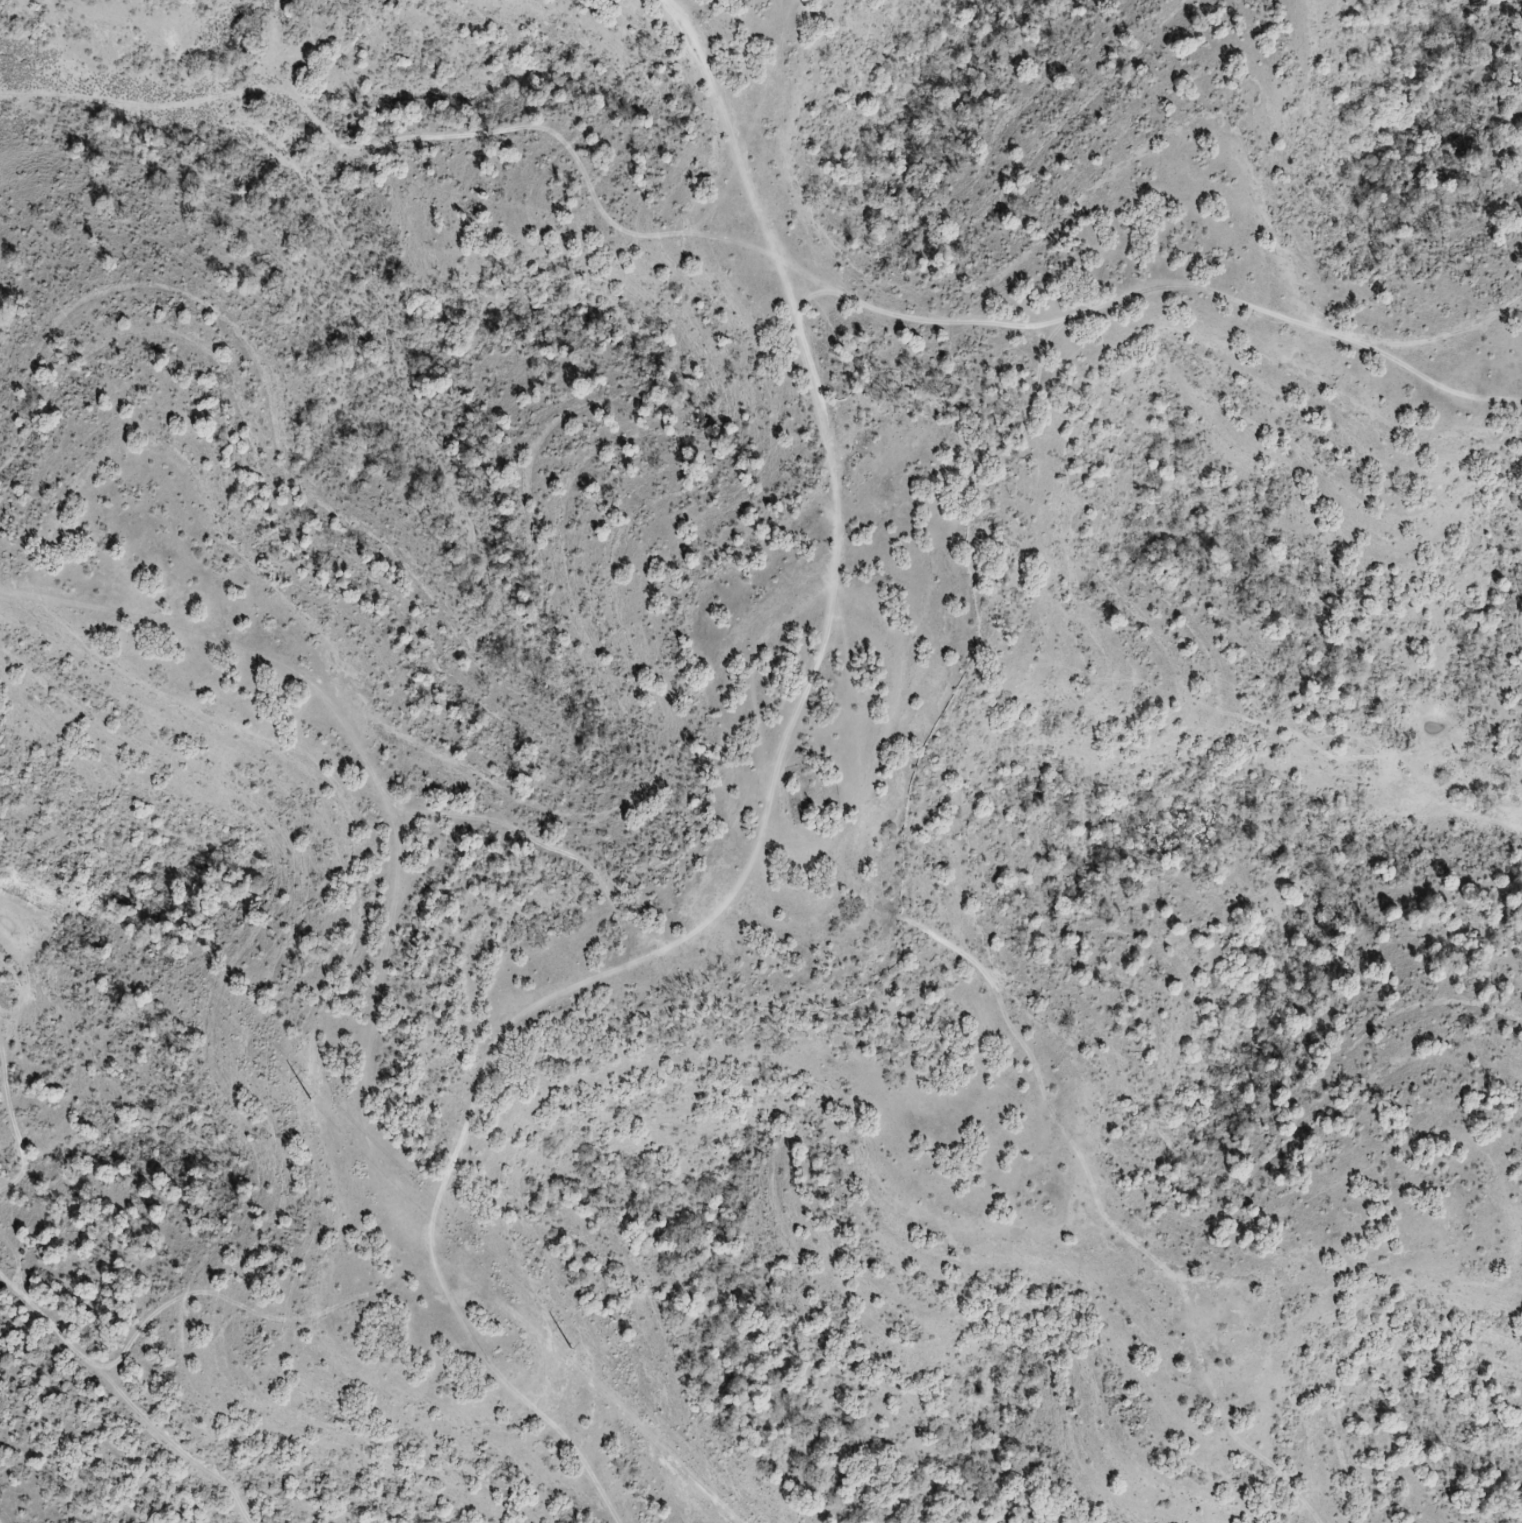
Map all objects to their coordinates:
power tower: (310, 1099)
power tower: (570, 1348)

